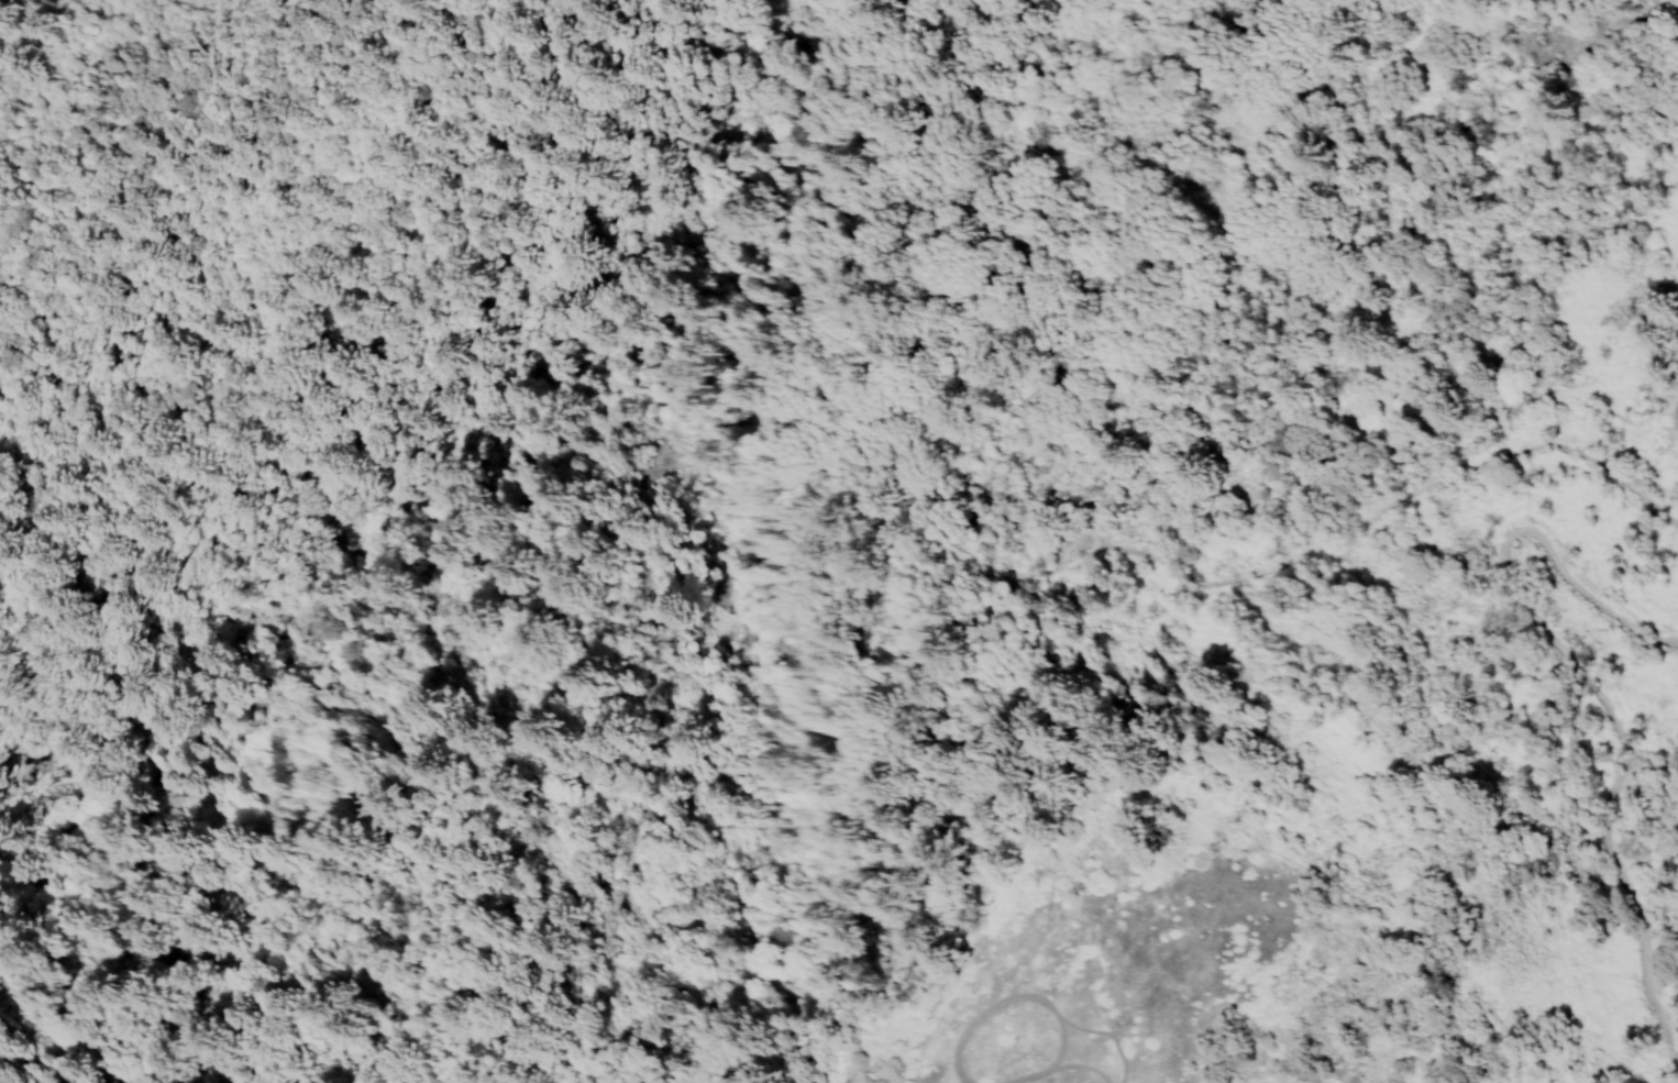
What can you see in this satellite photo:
road: (108, 27)
road: (100, 247)
road: (465, 301)
road: (274, 305)

